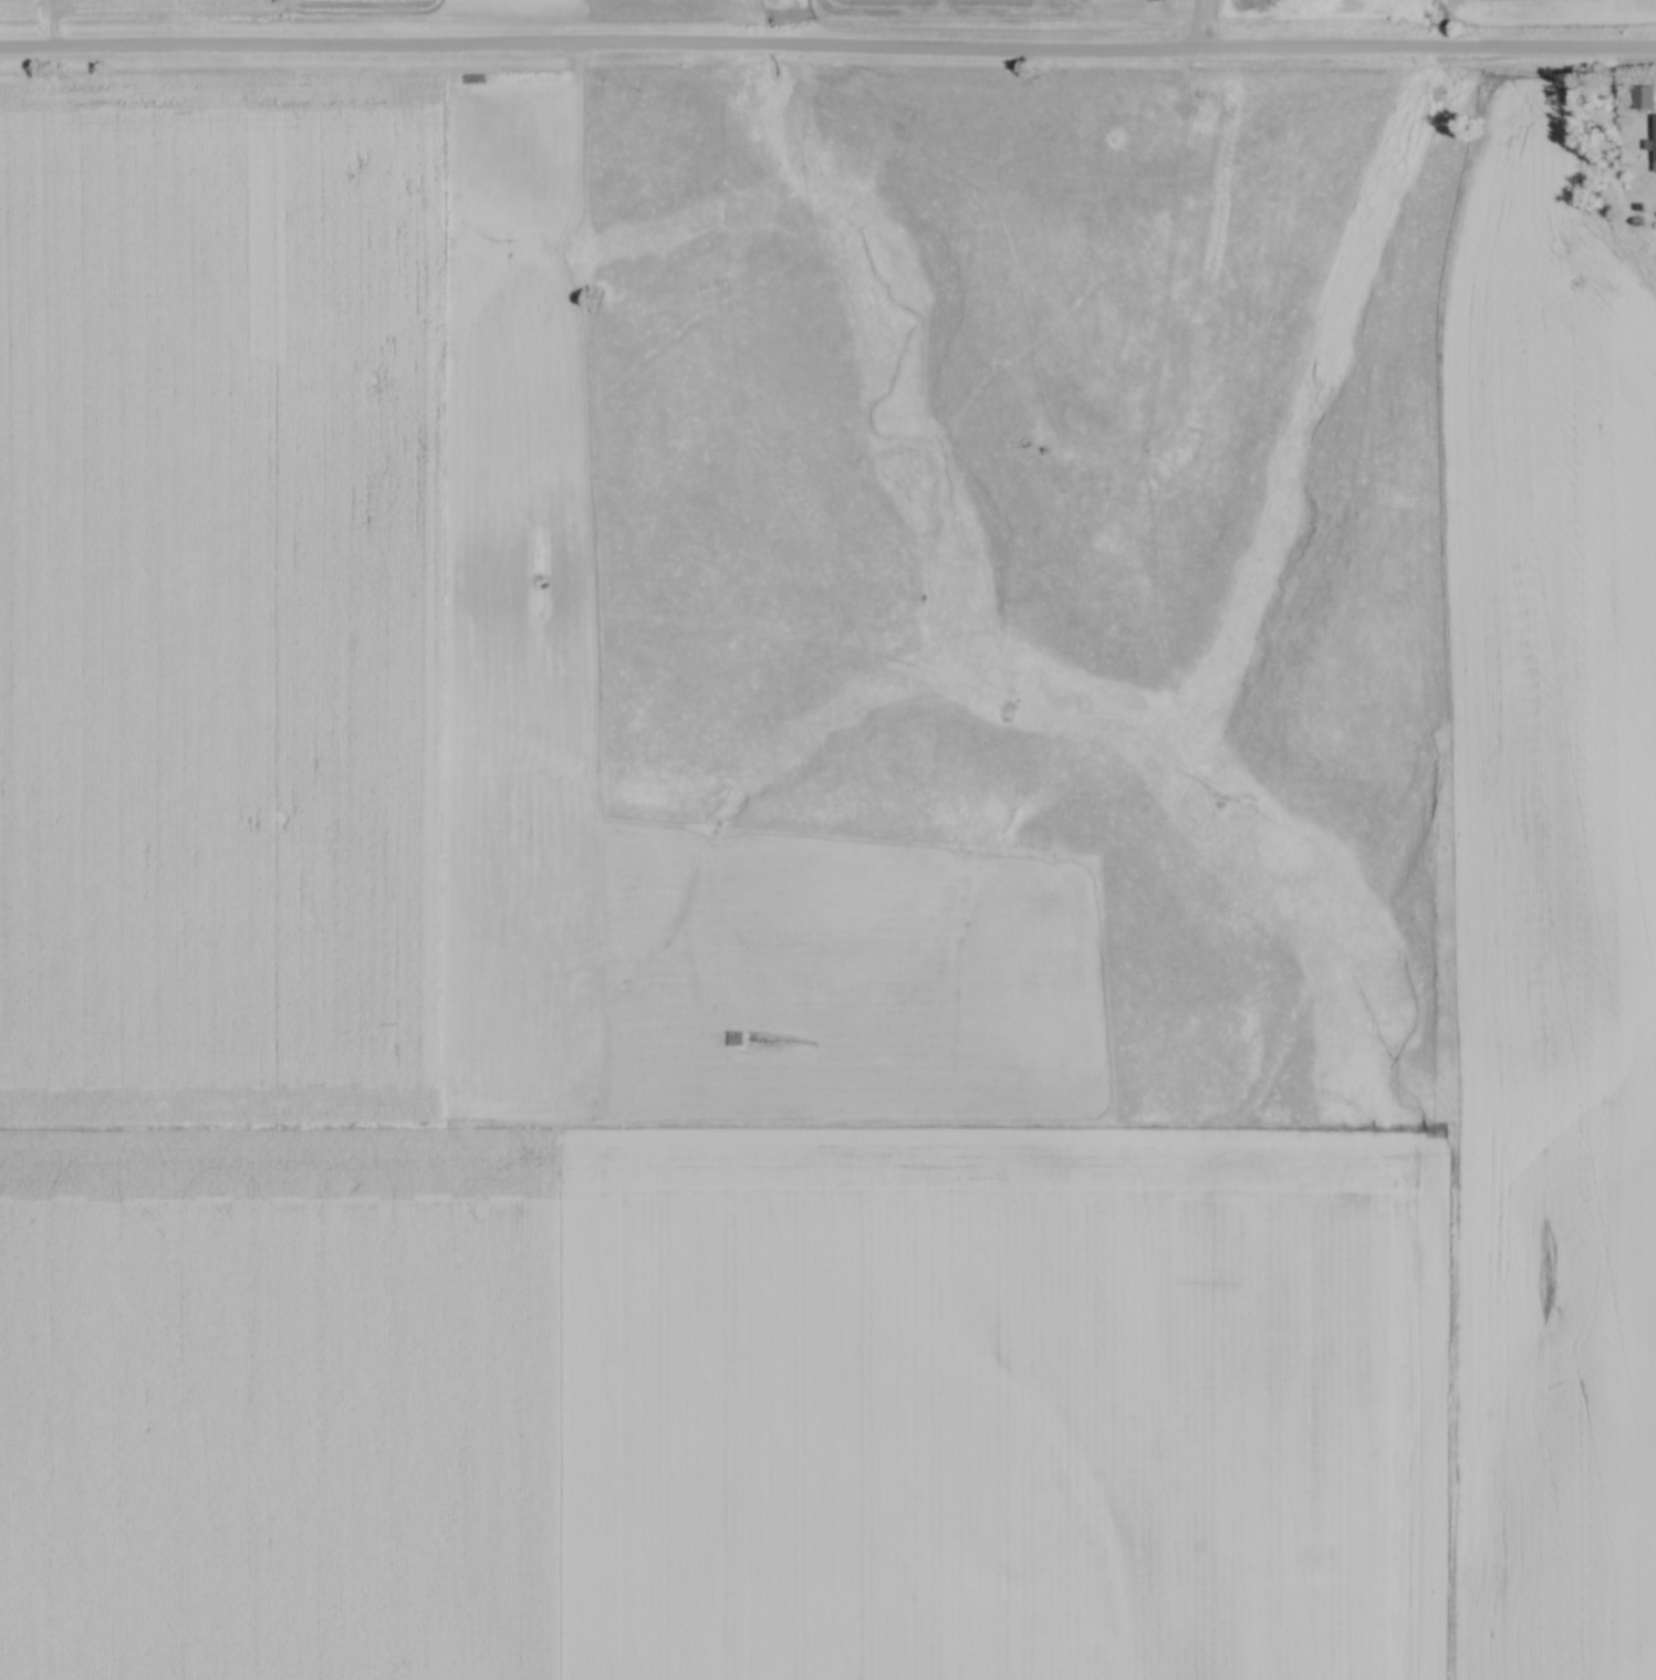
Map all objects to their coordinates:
road: (1197, 27)
road: (827, 54)
building: (1645, 102)
building: (1654, 137)
crop: (274, 1401)

